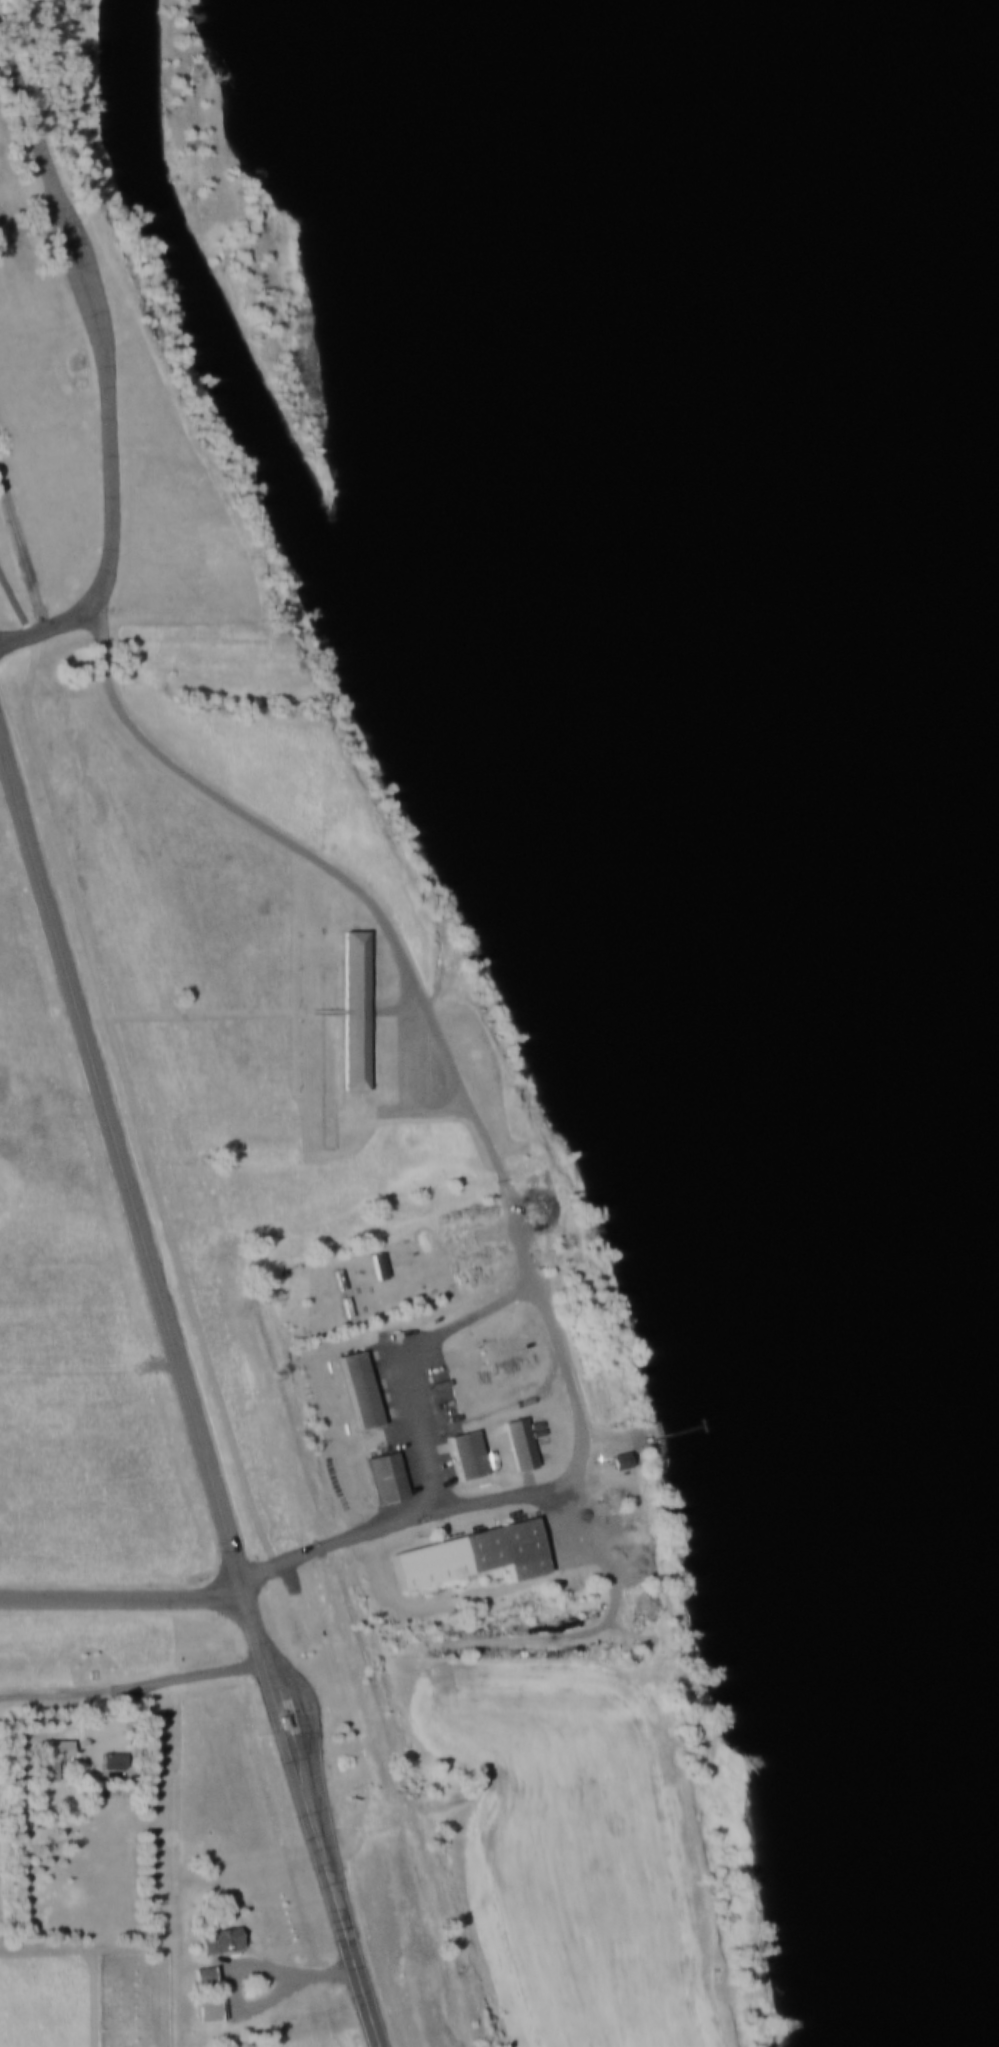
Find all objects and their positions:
road: (30, 223)
river: (593, 224)
river: (821, 224)
road: (105, 361)
river: (883, 755)
building: (353, 1007)
park: (265, 1053)
road: (174, 1216)
road: (530, 1262)
railway: (228, 1264)
building: (382, 1265)
building: (343, 1278)
building: (350, 1306)
road: (395, 1355)
building: (364, 1390)
road: (186, 1395)
building: (523, 1443)
building: (472, 1454)
building: (624, 1460)
building: (391, 1476)
building: (475, 1554)
road: (133, 1690)
building: (287, 1720)
building: (50, 1756)
building: (112, 1759)
building: (223, 1939)
road: (240, 1968)
building: (207, 1973)
building: (211, 2007)

